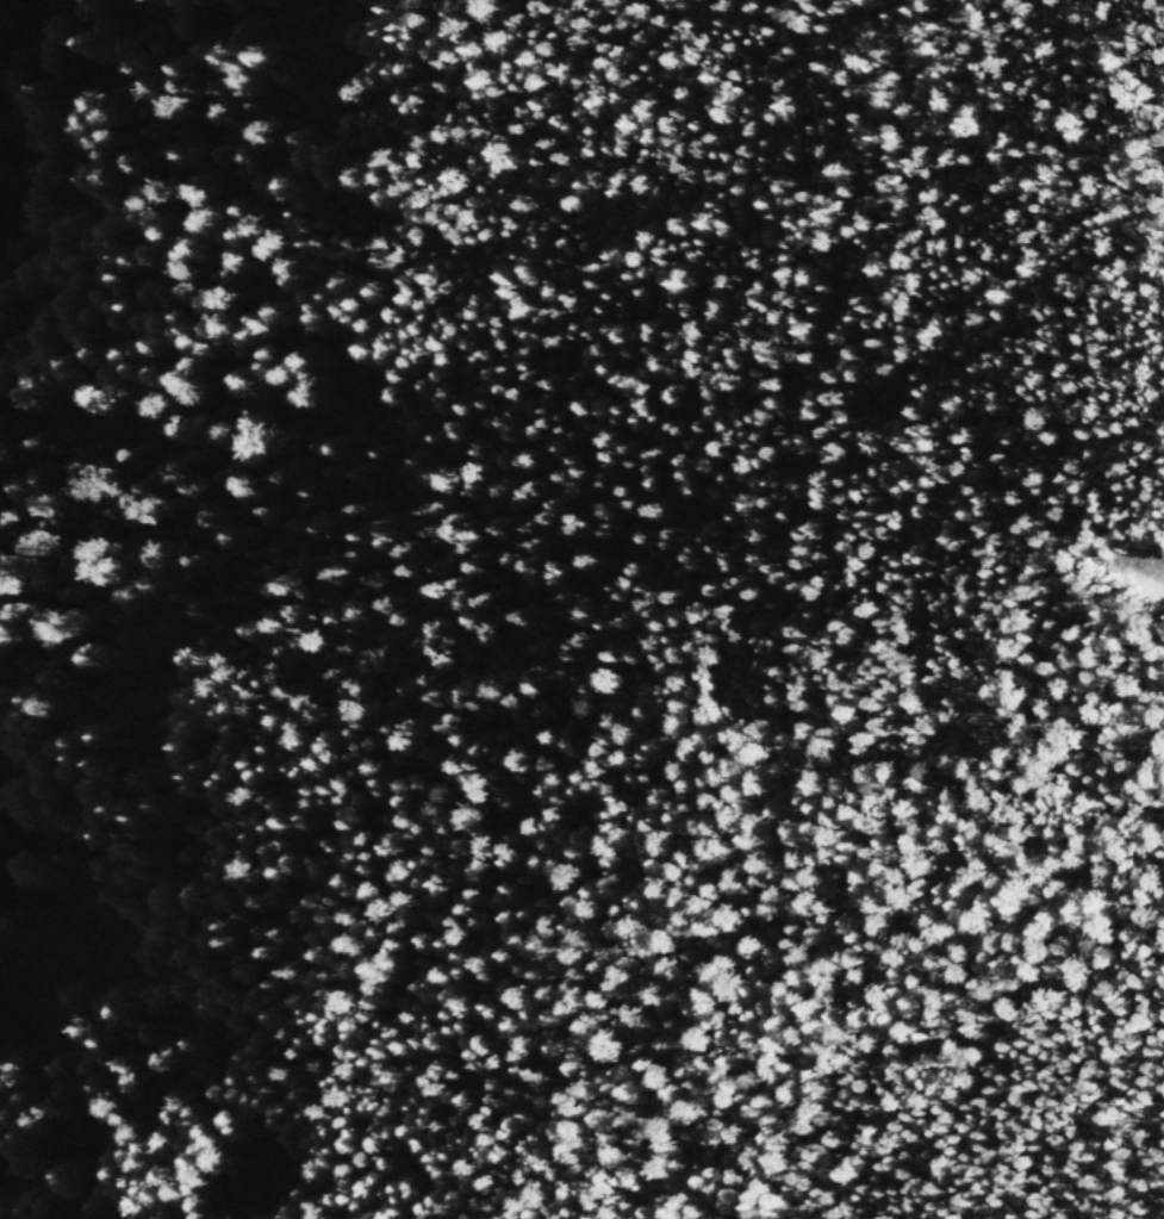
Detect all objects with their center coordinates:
road: (677, 673)

